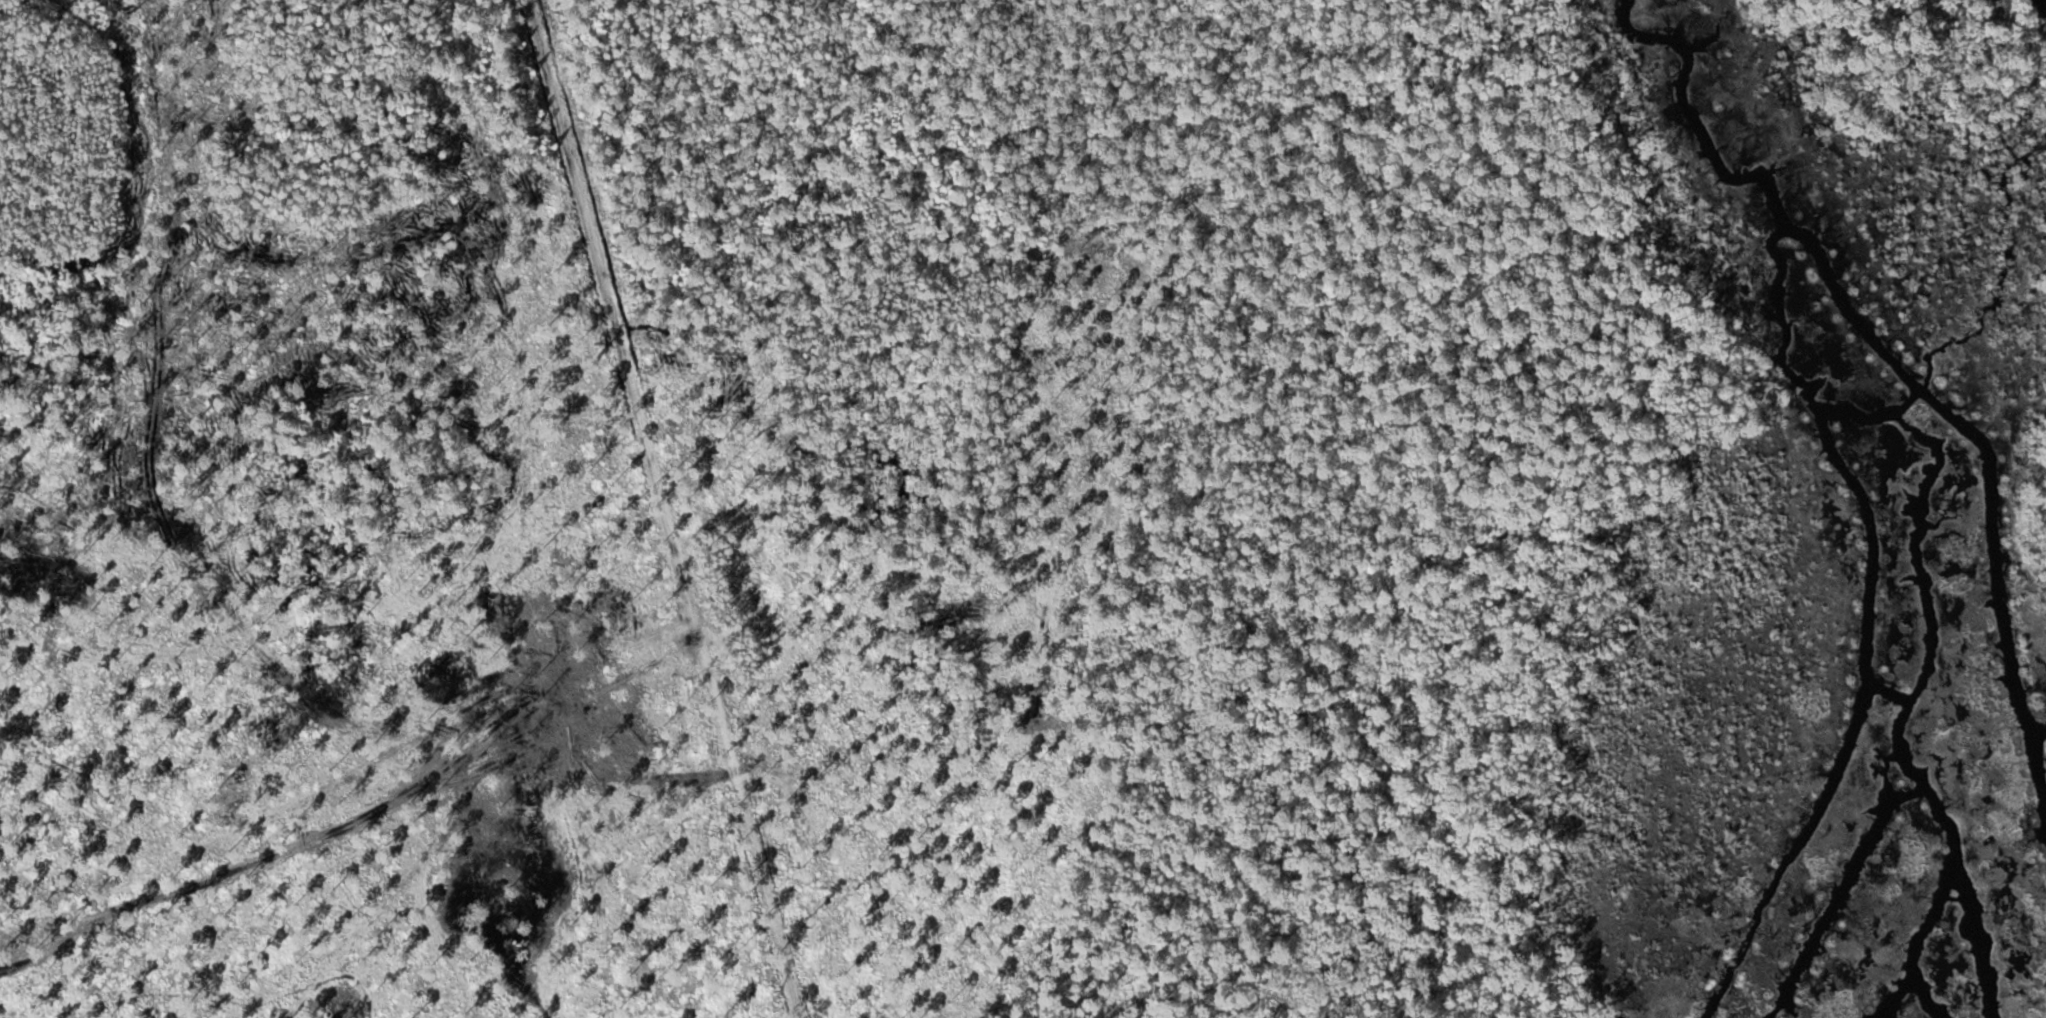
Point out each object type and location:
road: (698, 509)

